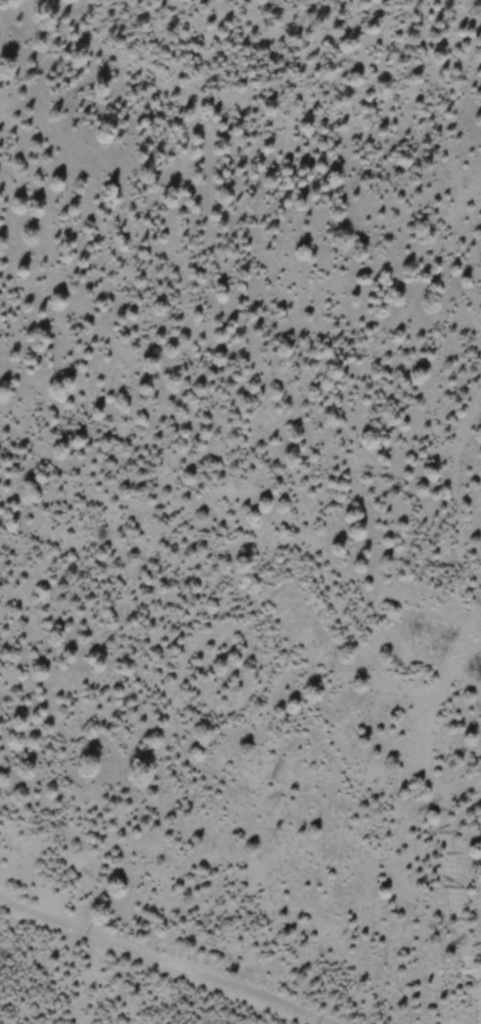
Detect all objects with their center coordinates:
road: (436, 796)
road: (162, 960)

